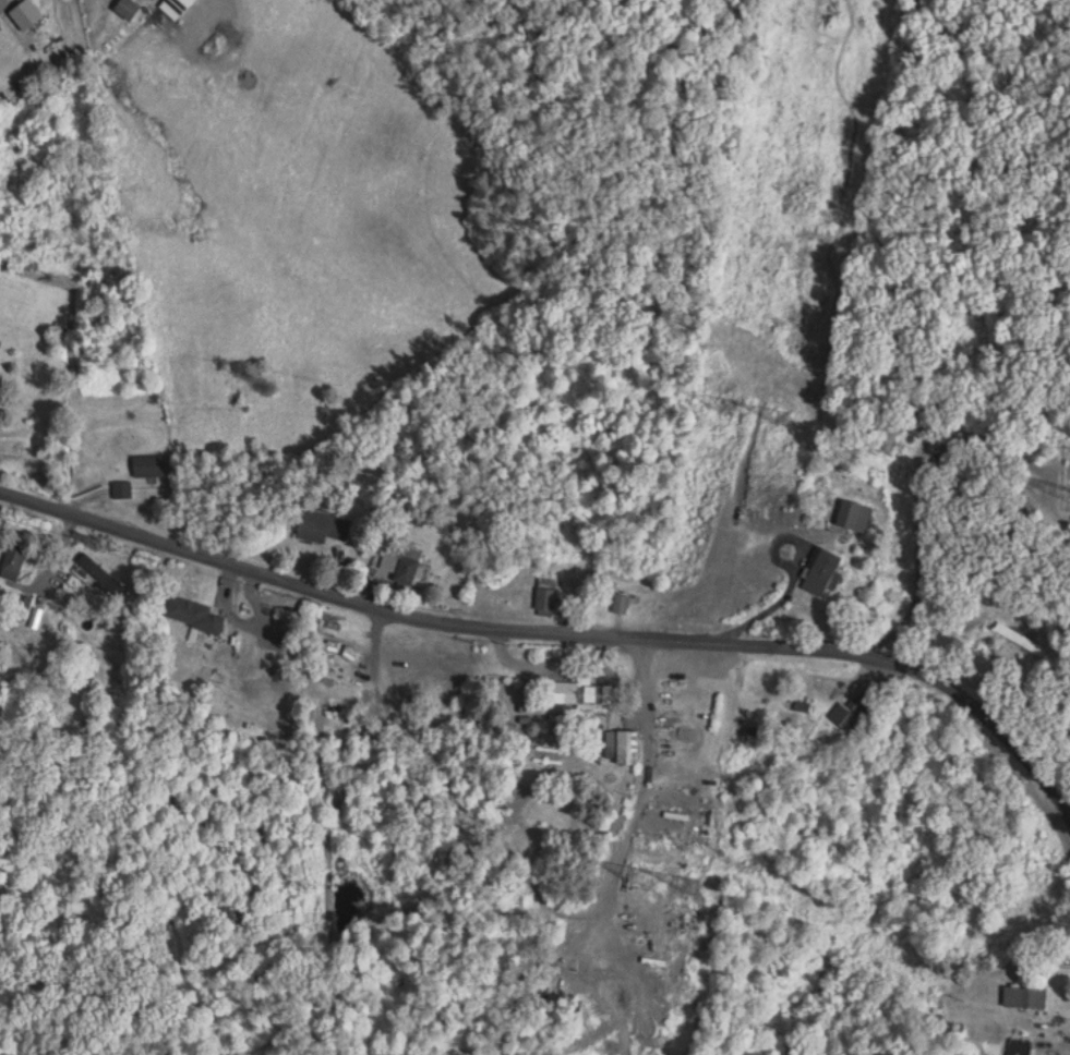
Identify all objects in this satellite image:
building: (128, 8)
power tower: (735, 407)
power tower: (793, 425)
building: (149, 465)
building: (855, 516)
building: (322, 526)
building: (14, 558)
building: (398, 568)
building: (821, 572)
building: (101, 574)
building: (546, 596)
building: (621, 604)
building: (194, 613)
road: (557, 633)
building: (1021, 639)
building: (593, 696)
building: (542, 707)
building: (854, 713)
building: (623, 741)
road: (446, 828)
power tower: (637, 876)
power tower: (697, 892)
building: (1025, 996)
building: (1021, 1046)

